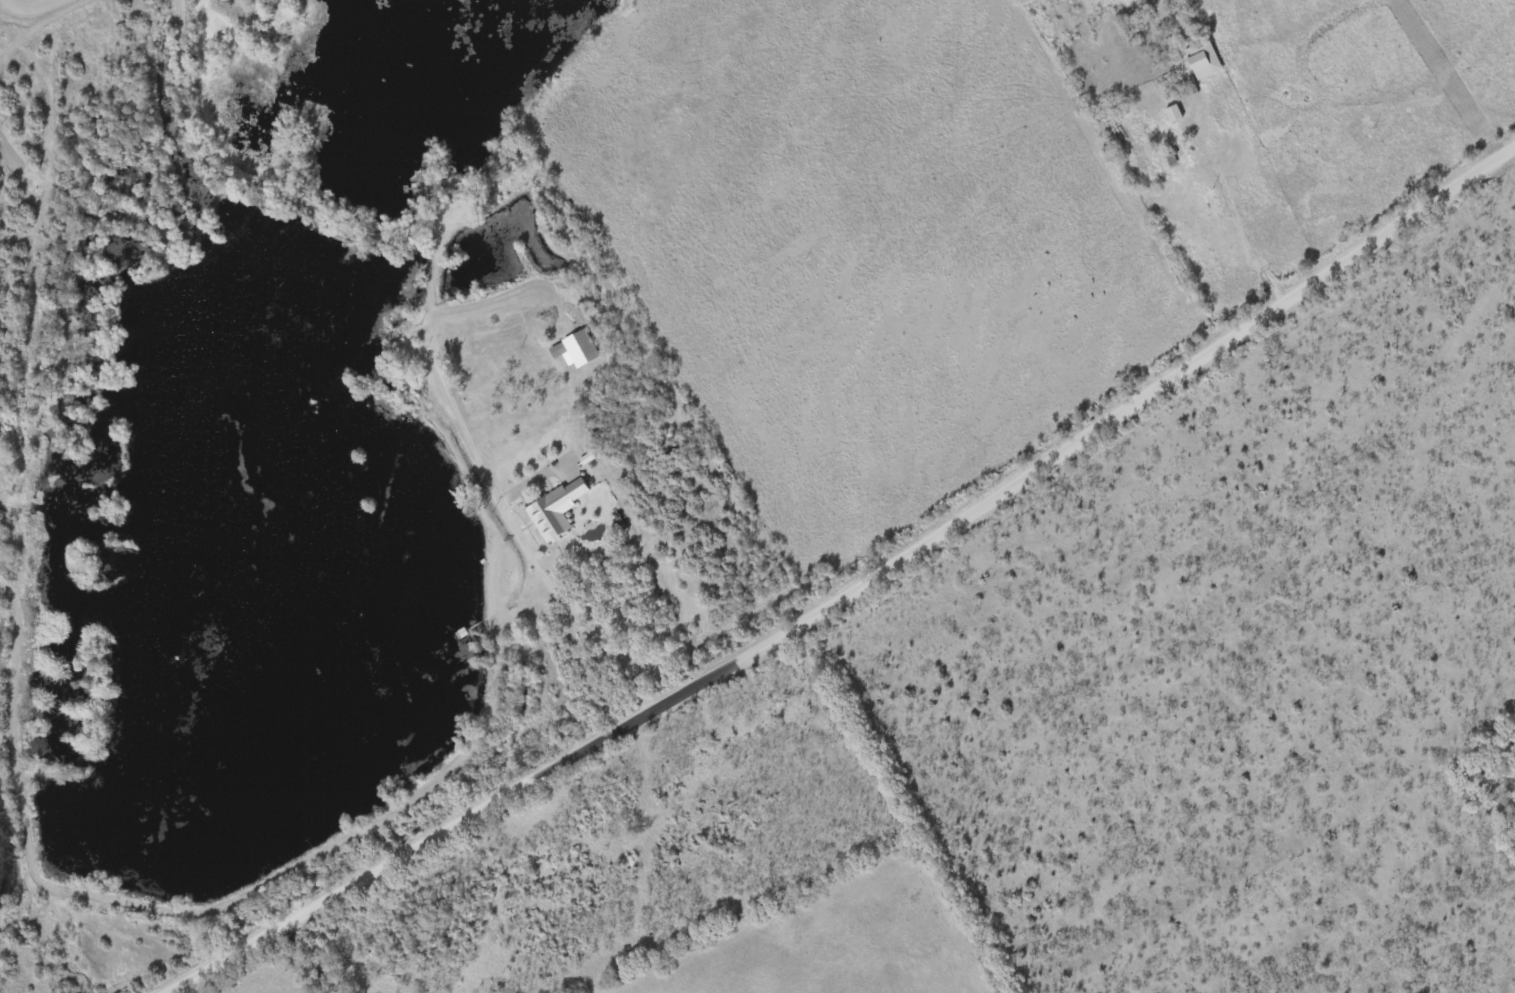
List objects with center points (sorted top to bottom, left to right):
building: (1203, 61)
building: (1173, 114)
building: (576, 351)
building: (556, 510)
road: (537, 568)
road: (856, 591)

